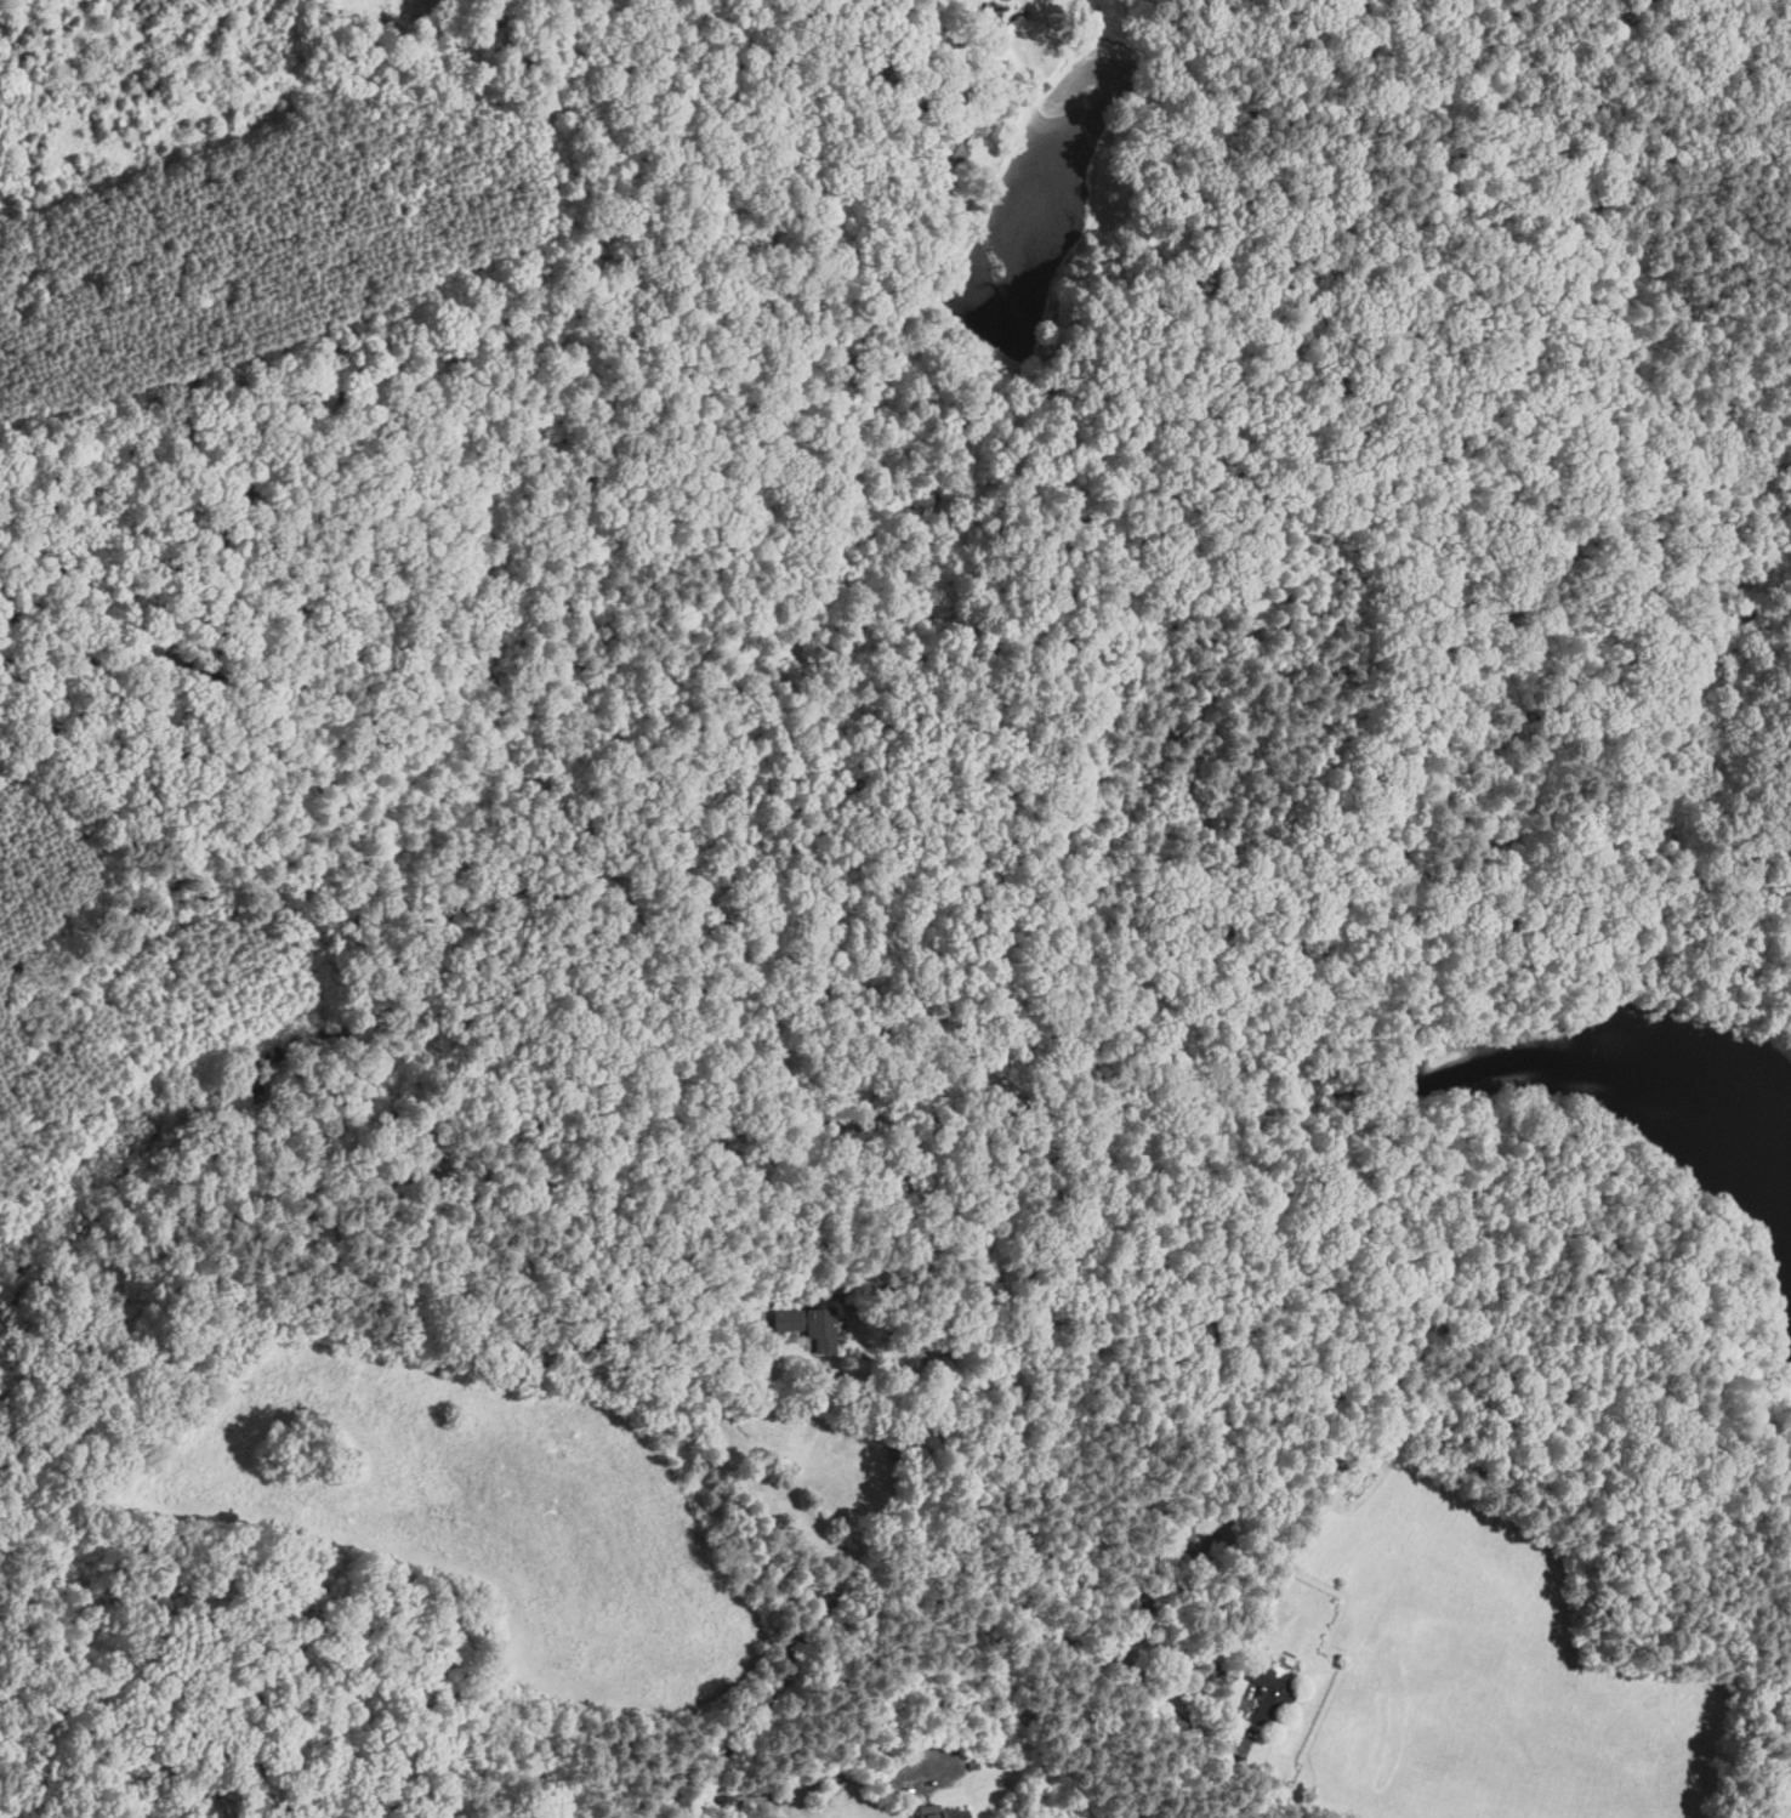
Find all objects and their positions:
road: (846, 21)
road: (895, 81)
building: (788, 1319)
road: (909, 1481)
building: (1267, 1695)
road: (734, 1745)
road: (812, 1782)

